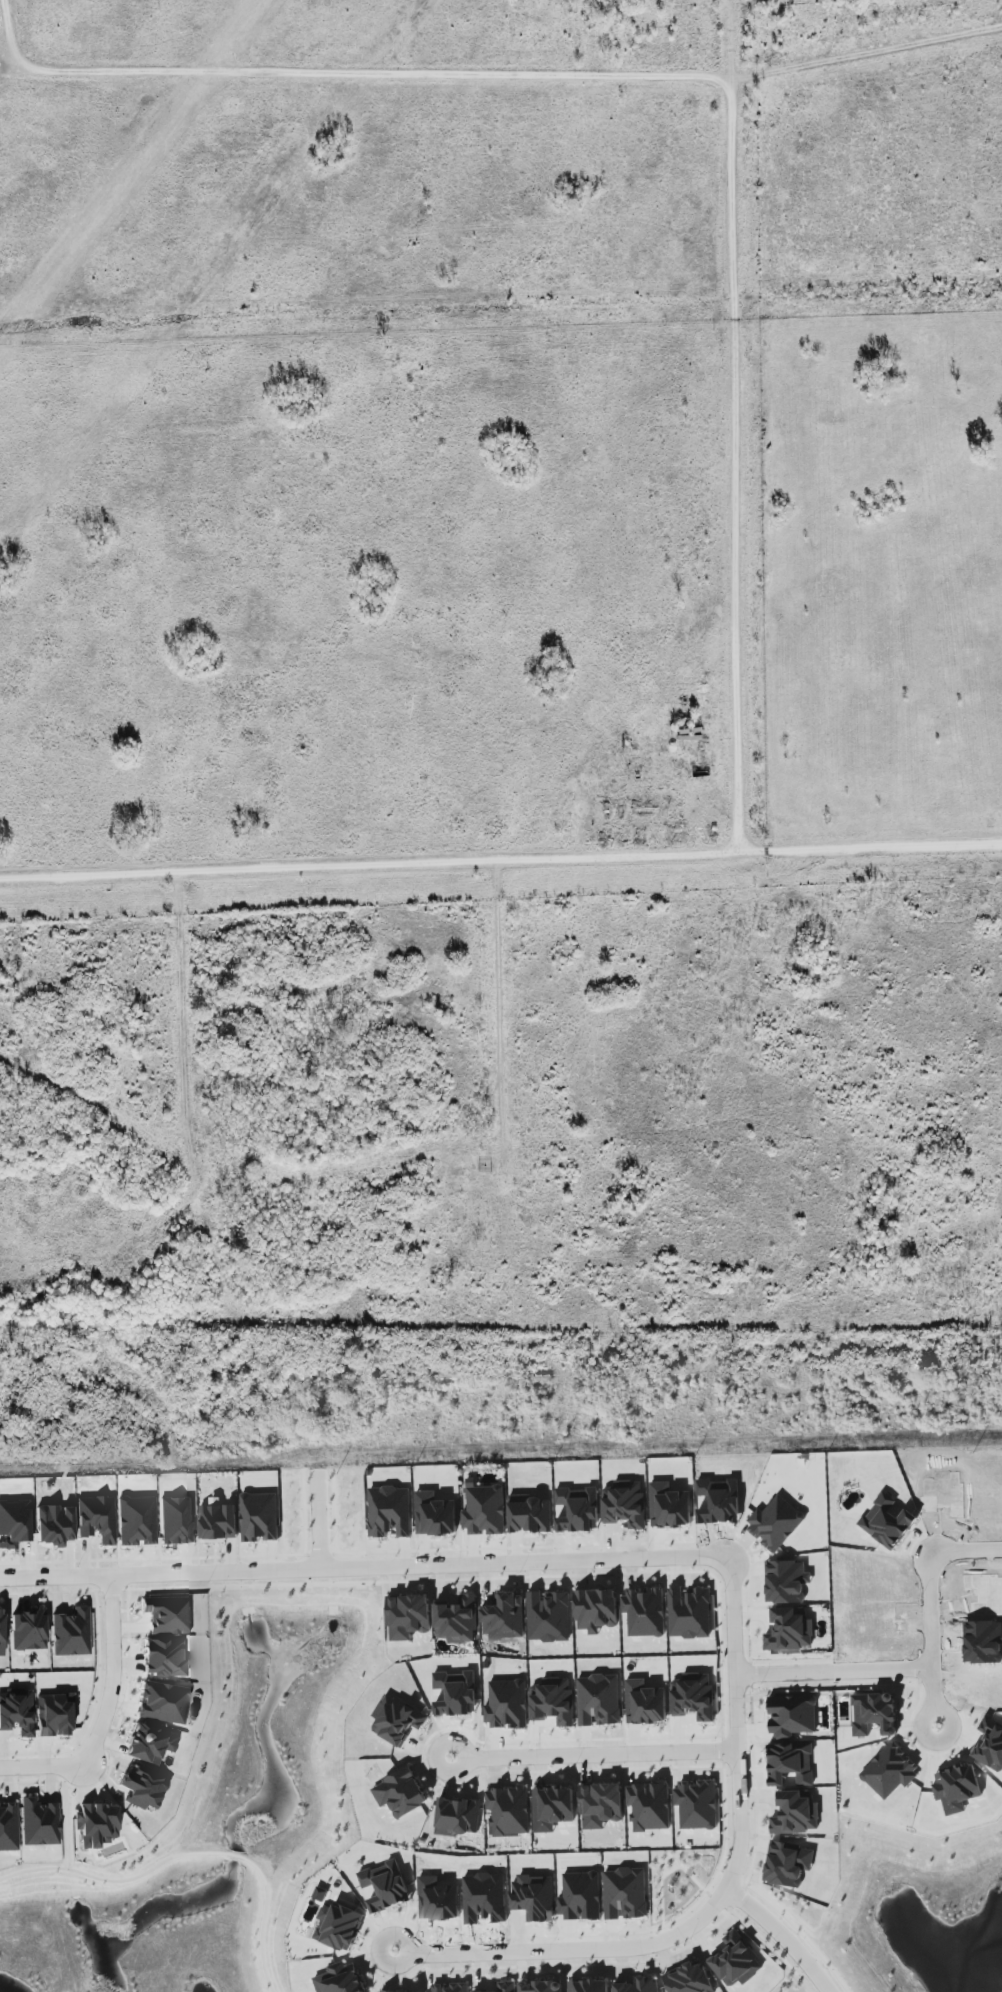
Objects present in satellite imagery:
road: (480, 77)
road: (735, 425)
road: (500, 854)
road: (502, 1010)
building: (624, 1504)
building: (668, 1506)
building: (484, 1509)
building: (576, 1509)
building: (389, 1511)
building: (530, 1514)
building: (259, 1517)
road: (319, 1518)
building: (96, 1520)
building: (136, 1521)
building: (176, 1521)
building: (886, 1522)
building: (218, 1523)
building: (775, 1523)
building: (13, 1524)
building: (53, 1525)
road: (527, 1562)
building: (784, 1581)
building: (595, 1610)
building: (645, 1612)
building: (689, 1613)
building: (167, 1615)
building: (407, 1616)
building: (505, 1617)
building: (456, 1620)
building: (27, 1630)
building: (789, 1630)
building: (70, 1633)
building: (1, 1634)
building: (163, 1658)
road: (926, 1669)
building: (455, 1695)
road: (934, 1697)
building: (598, 1699)
building: (552, 1701)
building: (162, 1703)
building: (644, 1703)
building: (506, 1704)
building: (16, 1712)
road: (105, 1712)
building: (53, 1716)
building: (792, 1716)
building: (396, 1719)
building: (149, 1744)
building: (990, 1745)
road: (593, 1752)
building: (889, 1771)
building: (957, 1784)
building: (142, 1790)
building: (400, 1793)
building: (696, 1804)
building: (600, 1805)
building: (649, 1806)
building: (508, 1810)
building: (794, 1813)
building: (458, 1816)
road: (65, 1818)
building: (38, 1823)
building: (95, 1825)
building: (8, 1827)
road: (189, 1854)
road: (666, 1864)
building: (787, 1864)
road: (670, 1871)
road: (718, 1874)
park: (677, 1879)
building: (385, 1886)
building: (625, 1893)
building: (534, 1897)
building: (337, 1926)
road: (612, 1933)
road: (781, 1935)
road: (767, 1942)
road: (568, 1949)
building: (735, 1960)
building: (339, 1979)
building: (688, 1979)
building: (639, 1985)
building: (541, 1986)
building: (588, 1986)
building: (505, 1987)
building: (448, 1988)
building: (382, 1991)

